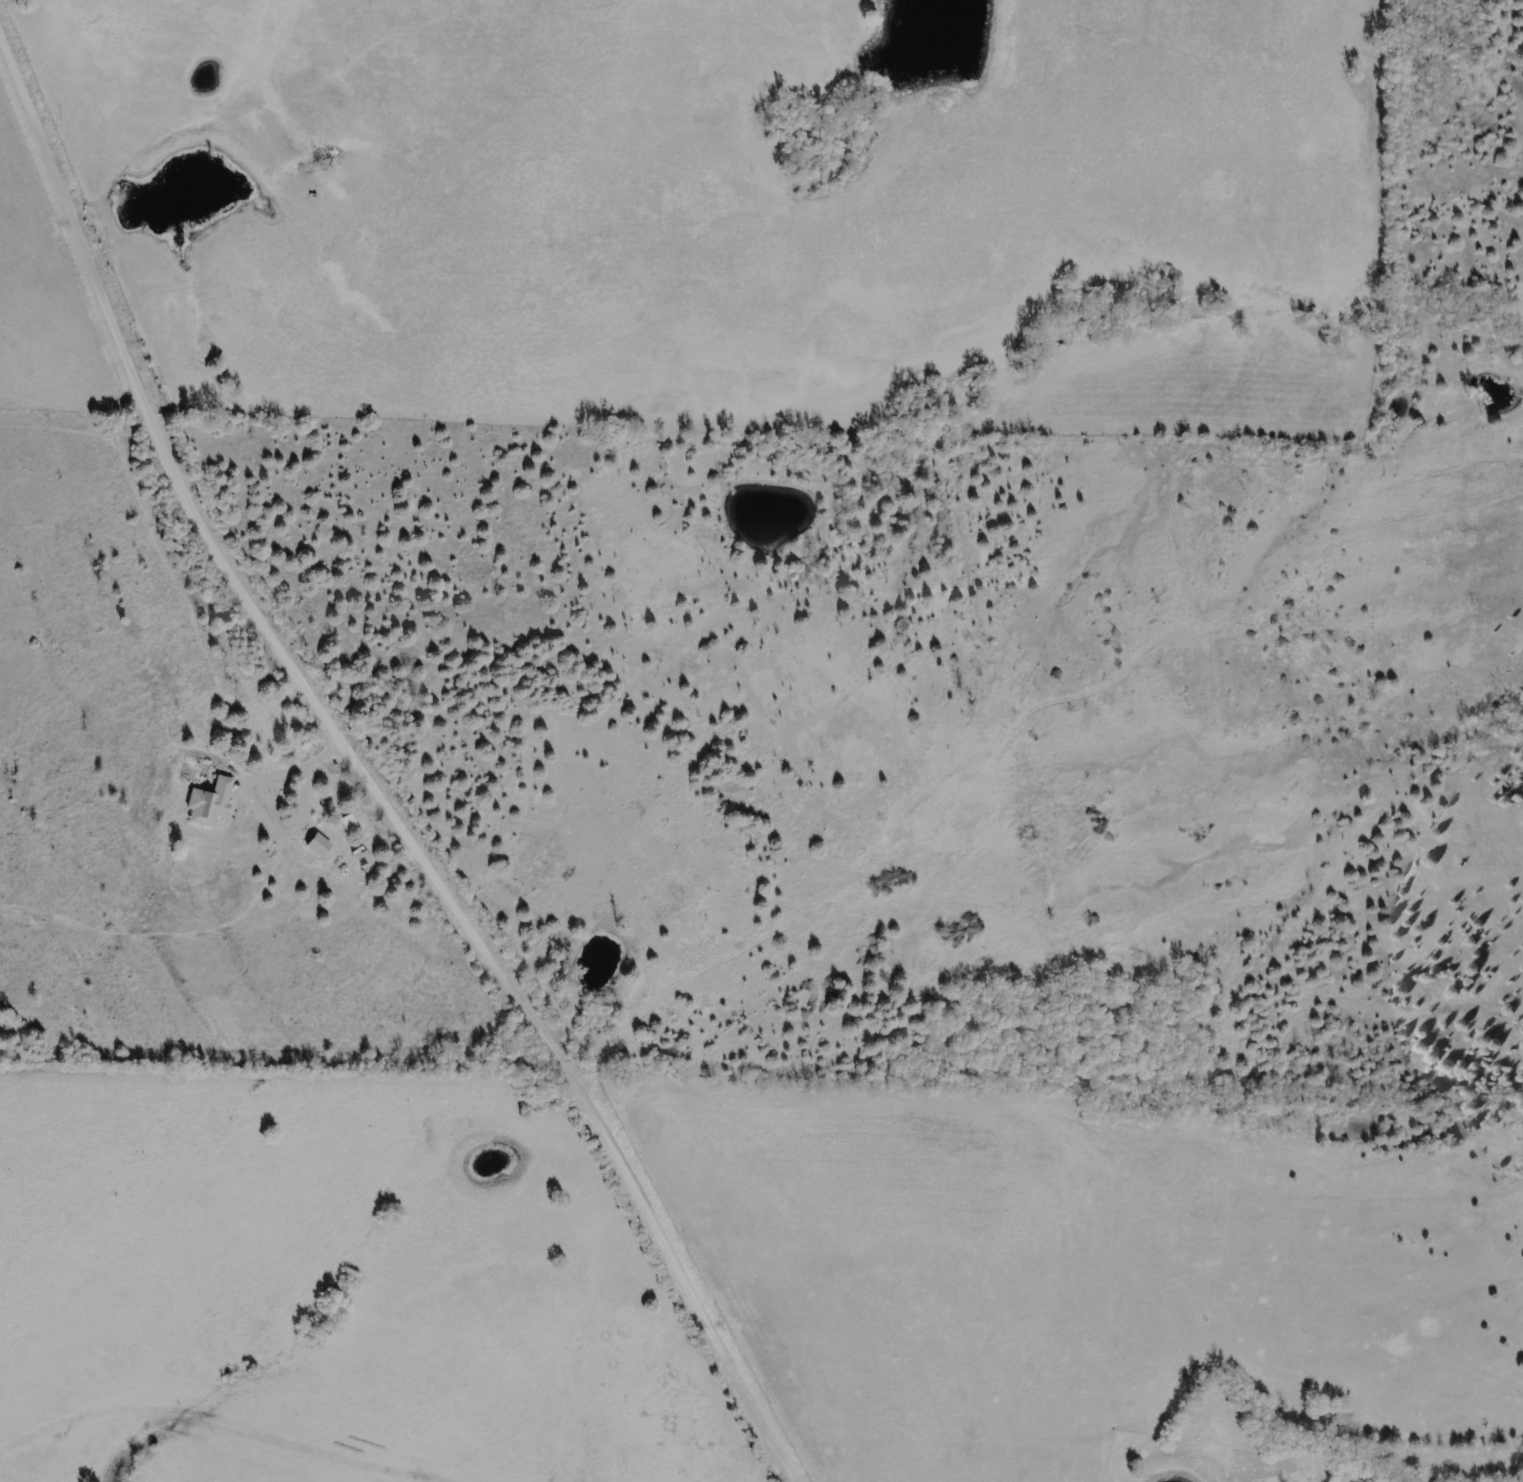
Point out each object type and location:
road: (377, 783)
building: (214, 802)
road: (280, 831)
building: (323, 845)

